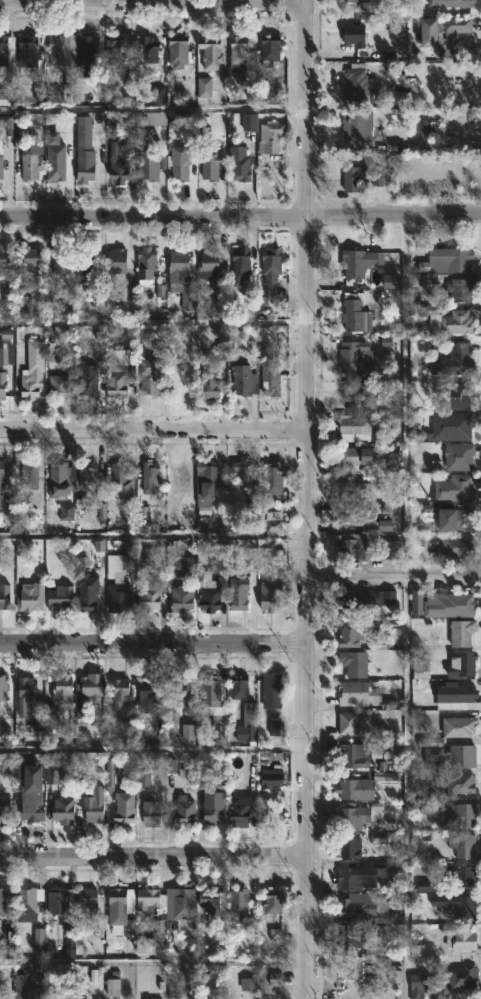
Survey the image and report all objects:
building: (360, 1)
road: (151, 3)
building: (450, 3)
building: (355, 35)
building: (443, 36)
building: (149, 49)
building: (87, 50)
building: (270, 50)
building: (4, 51)
building: (63, 51)
building: (177, 51)
building: (28, 52)
building: (121, 52)
building: (211, 52)
building: (239, 54)
building: (358, 82)
building: (69, 84)
building: (204, 87)
building: (6, 91)
building: (158, 93)
building: (267, 96)
road: (153, 108)
building: (155, 118)
building: (249, 122)
building: (7, 125)
building: (352, 126)
building: (83, 131)
building: (271, 139)
building: (1, 161)
building: (56, 161)
building: (182, 161)
building: (210, 163)
building: (119, 164)
building: (240, 164)
building: (85, 166)
building: (148, 166)
building: (31, 167)
building: (367, 177)
road: (240, 215)
building: (31, 257)
building: (454, 258)
building: (5, 261)
building: (61, 261)
building: (119, 262)
building: (360, 262)
building: (145, 264)
building: (209, 264)
building: (86, 266)
building: (241, 266)
building: (270, 275)
building: (181, 279)
building: (390, 281)
building: (462, 288)
building: (50, 303)
building: (353, 312)
building: (452, 320)
road: (153, 323)
building: (6, 354)
building: (355, 356)
building: (455, 359)
building: (118, 370)
building: (150, 378)
building: (89, 381)
building: (245, 381)
building: (3, 384)
building: (31, 384)
building: (271, 384)
building: (210, 385)
building: (59, 386)
building: (358, 392)
building: (454, 394)
building: (454, 426)
building: (354, 428)
road: (153, 429)
building: (460, 457)
building: (354, 458)
building: (433, 465)
building: (244, 470)
building: (30, 474)
building: (179, 474)
building: (1, 476)
building: (150, 476)
building: (62, 477)
building: (90, 478)
building: (273, 478)
building: (121, 479)
building: (212, 484)
building: (456, 487)
building: (352, 488)
road: (306, 499)
building: (66, 512)
building: (364, 518)
building: (463, 519)
building: (272, 522)
road: (153, 537)
building: (457, 545)
building: (351, 549)
building: (392, 549)
building: (250, 565)
building: (186, 566)
road: (393, 574)
building: (119, 581)
building: (214, 582)
building: (87, 591)
building: (239, 593)
building: (31, 595)
building: (271, 595)
building: (4, 596)
building: (60, 597)
building: (149, 598)
building: (367, 598)
building: (182, 599)
building: (447, 603)
road: (406, 606)
building: (462, 632)
building: (348, 634)
road: (153, 646)
building: (355, 663)
building: (466, 663)
building: (239, 686)
building: (3, 687)
building: (63, 689)
building: (121, 691)
building: (272, 691)
building: (87, 692)
building: (180, 692)
building: (355, 692)
building: (26, 694)
building: (148, 694)
building: (458, 696)
building: (214, 706)
building: (348, 723)
building: (248, 724)
building: (460, 726)
building: (275, 728)
building: (187, 732)
road: (153, 749)
building: (354, 755)
building: (453, 755)
building: (170, 765)
building: (274, 775)
building: (51, 776)
building: (384, 776)
building: (143, 778)
building: (201, 780)
building: (463, 784)
building: (349, 788)
building: (94, 802)
building: (35, 807)
building: (125, 809)
building: (63, 810)
building: (184, 810)
building: (241, 810)
building: (4, 811)
building: (149, 814)
building: (213, 814)
building: (463, 814)
building: (350, 819)
building: (378, 837)
building: (463, 845)
building: (350, 847)
road: (152, 854)
building: (389, 875)
building: (460, 876)
building: (429, 886)
building: (88, 899)
building: (3, 901)
building: (168, 901)
building: (28, 902)
building: (214, 903)
building: (238, 903)
building: (274, 903)
building: (458, 905)
building: (62, 907)
building: (121, 907)
building: (367, 907)
building: (275, 934)
building: (460, 937)
building: (351, 938)
building: (38, 940)
building: (416, 945)
road: (151, 963)
building: (353, 968)
building: (394, 974)
building: (462, 977)
building: (35, 978)
building: (274, 979)
building: (247, 984)
building: (417, 986)
building: (112, 987)
building: (20, 990)
building: (0, 995)

